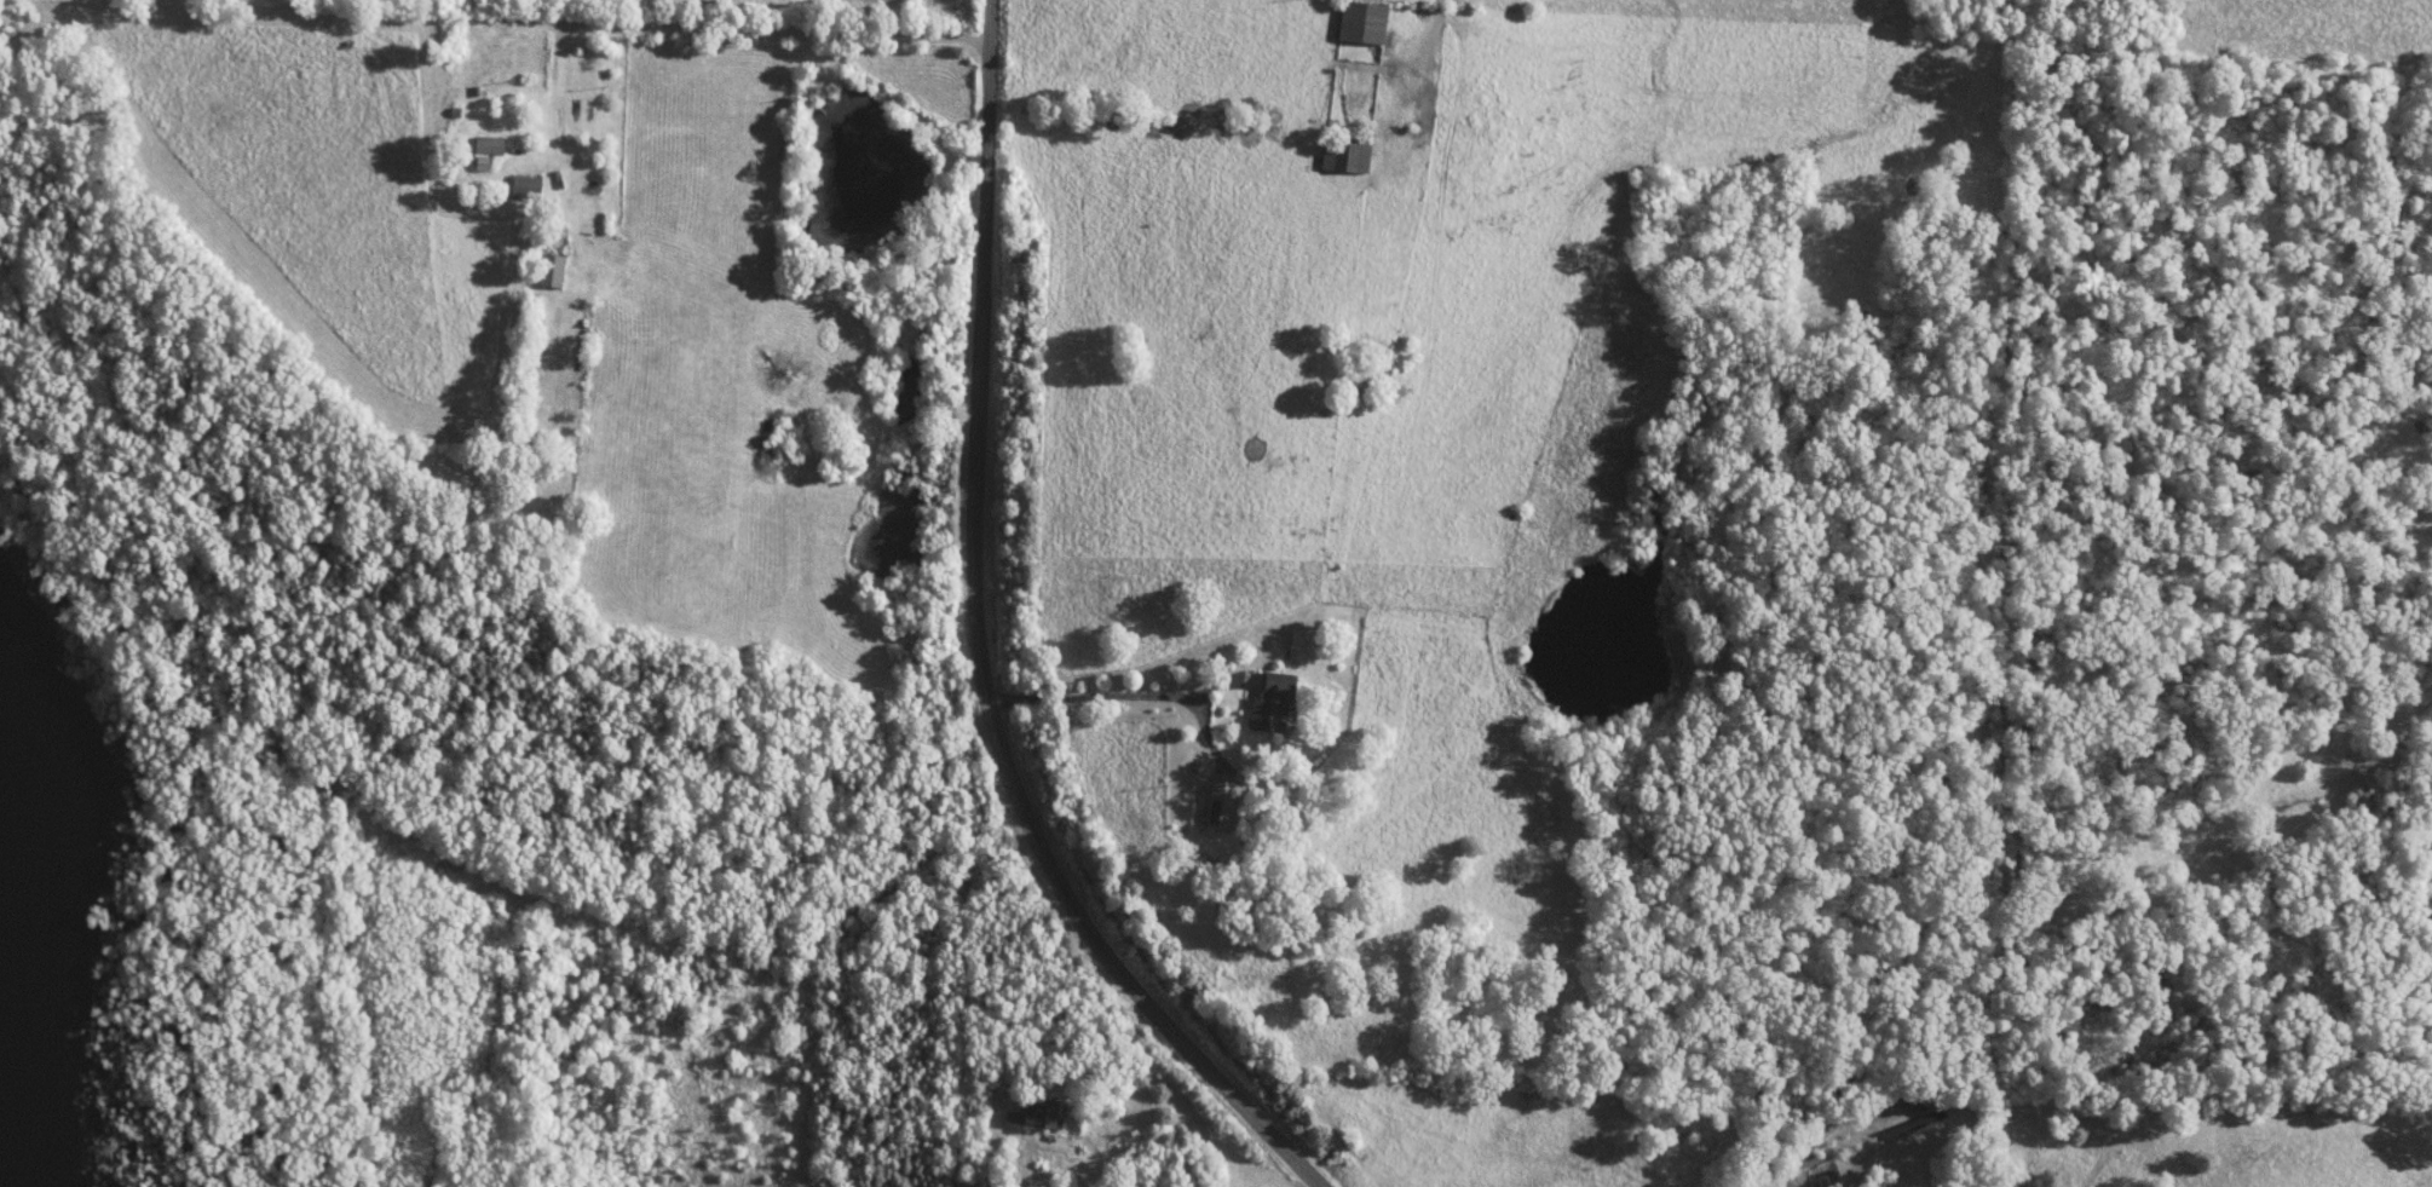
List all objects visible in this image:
building: (1365, 22)
road: (750, 30)
building: (496, 39)
road: (1431, 70)
building: (491, 145)
building: (1348, 156)
building: (529, 186)
building: (553, 270)
road: (979, 650)
road: (1124, 702)
building: (1276, 702)
building: (1224, 803)
building: (1039, 1113)
road: (990, 1151)

